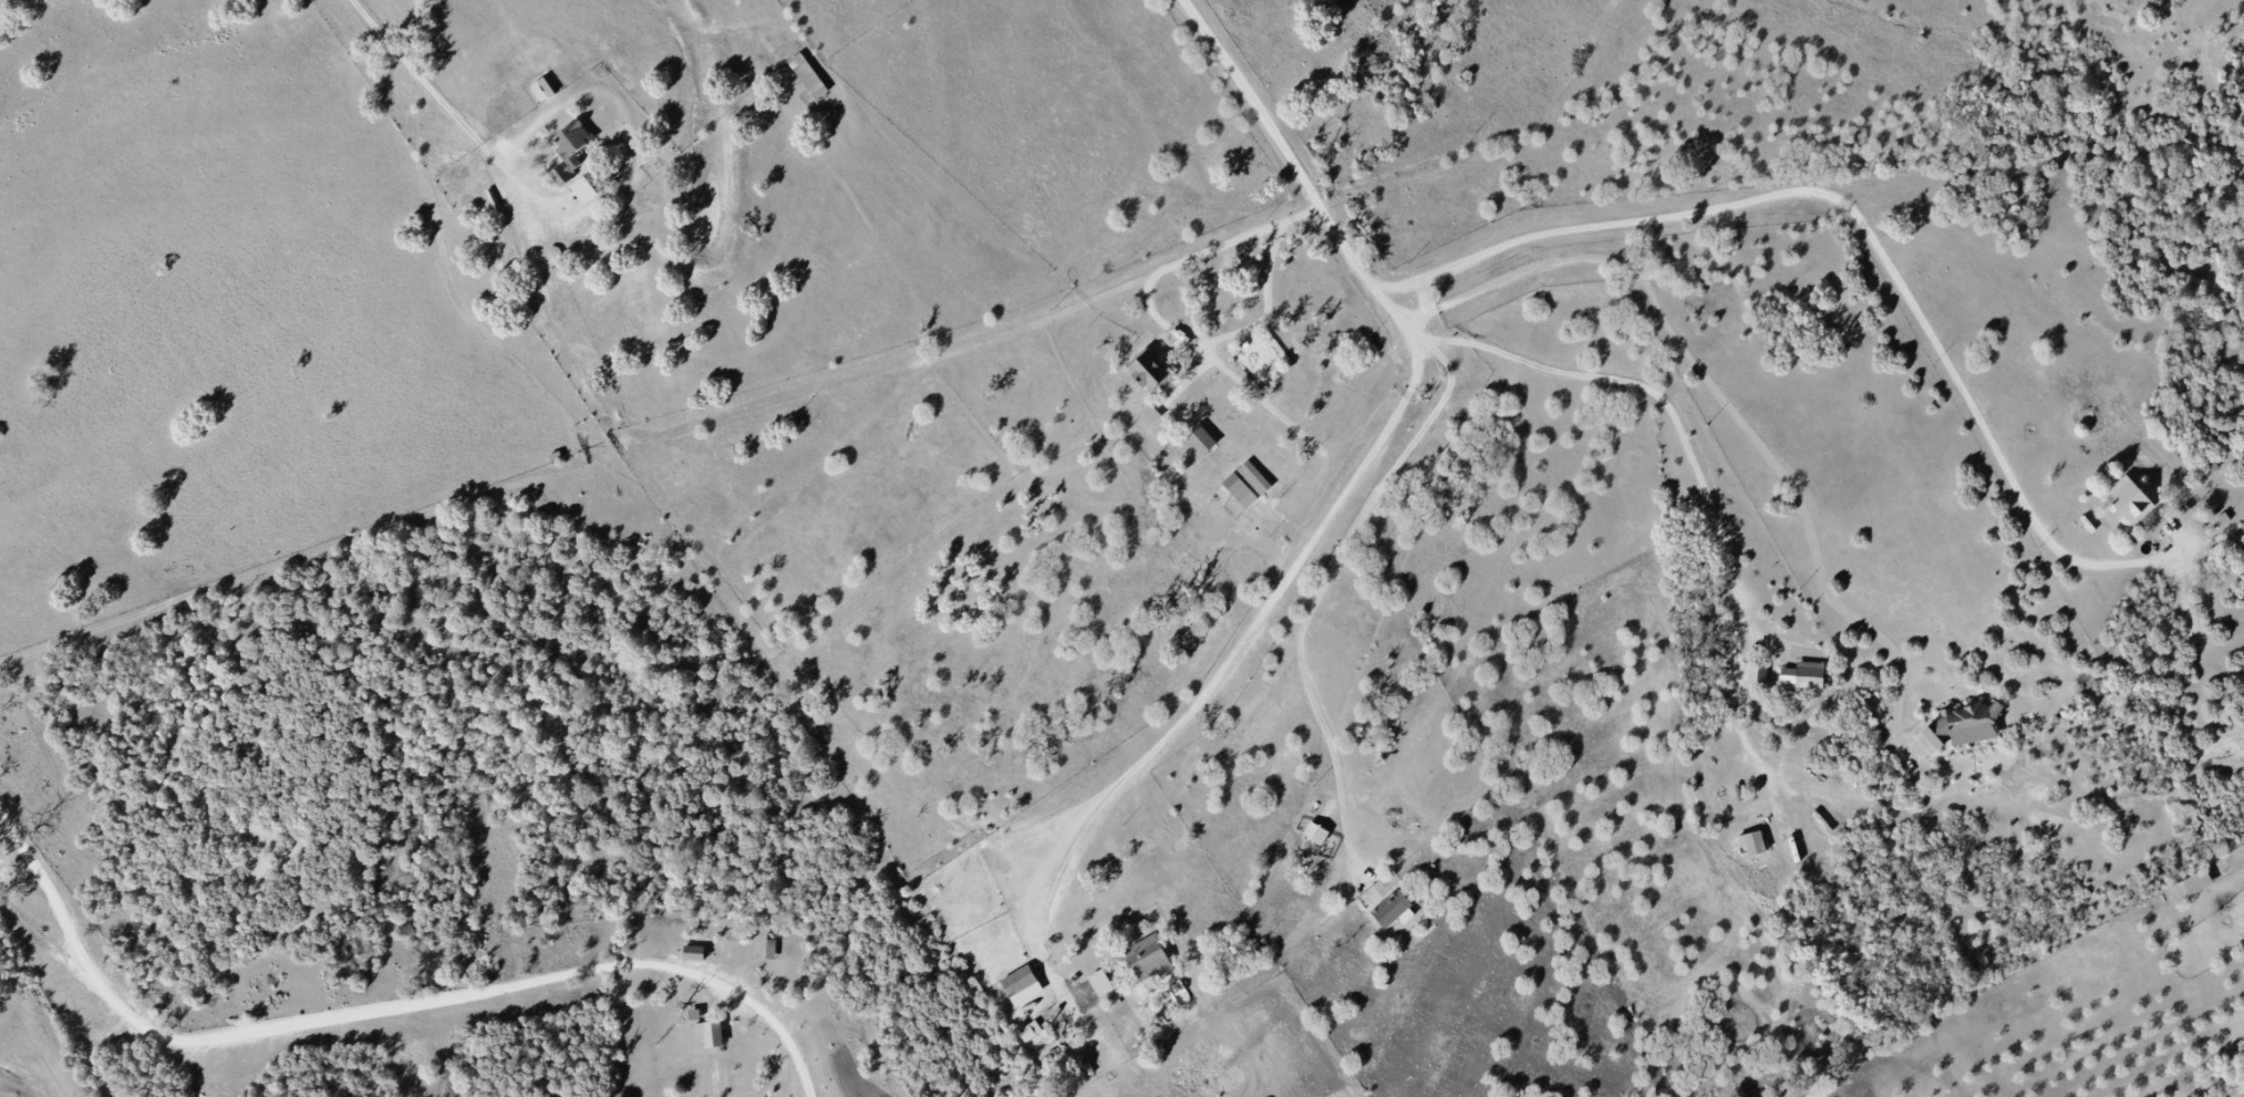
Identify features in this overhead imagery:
building: (808, 76)
building: (542, 91)
road: (457, 112)
building: (585, 162)
building: (585, 192)
road: (1319, 197)
building: (1148, 371)
building: (1150, 416)
building: (1201, 441)
building: (1248, 485)
building: (2128, 503)
building: (1758, 675)
building: (1810, 676)
building: (1965, 726)
building: (1752, 844)
building: (2191, 887)
building: (1392, 909)
building: (766, 948)
building: (694, 954)
building: (1147, 959)
building: (1102, 984)
building: (1022, 986)
building: (1031, 1033)
building: (710, 1034)

